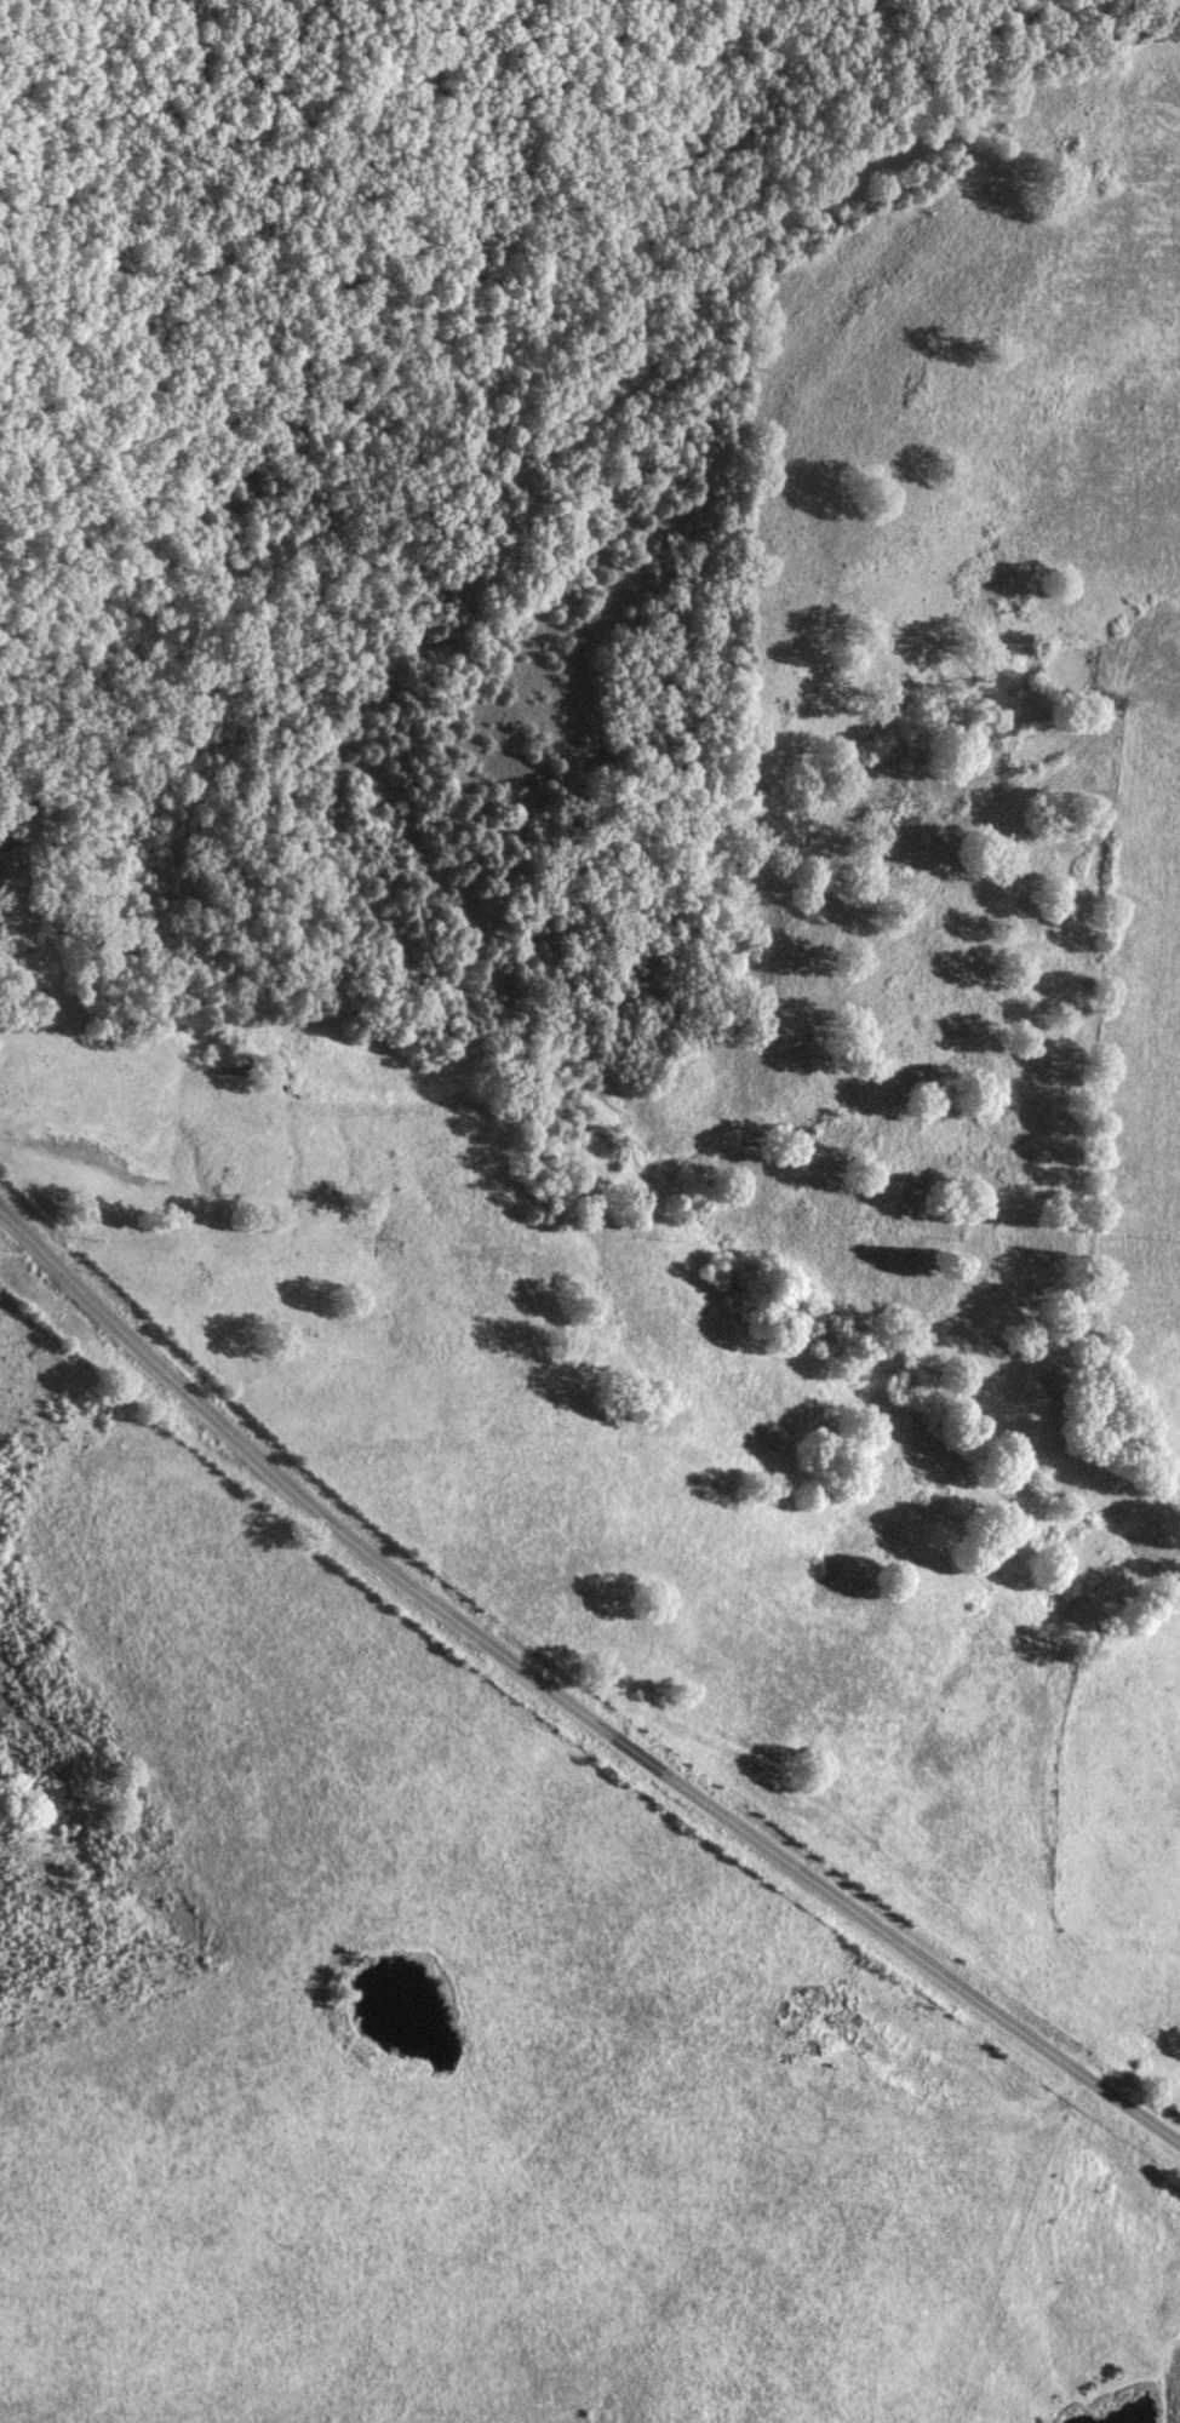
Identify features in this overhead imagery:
road: (555, 1751)

